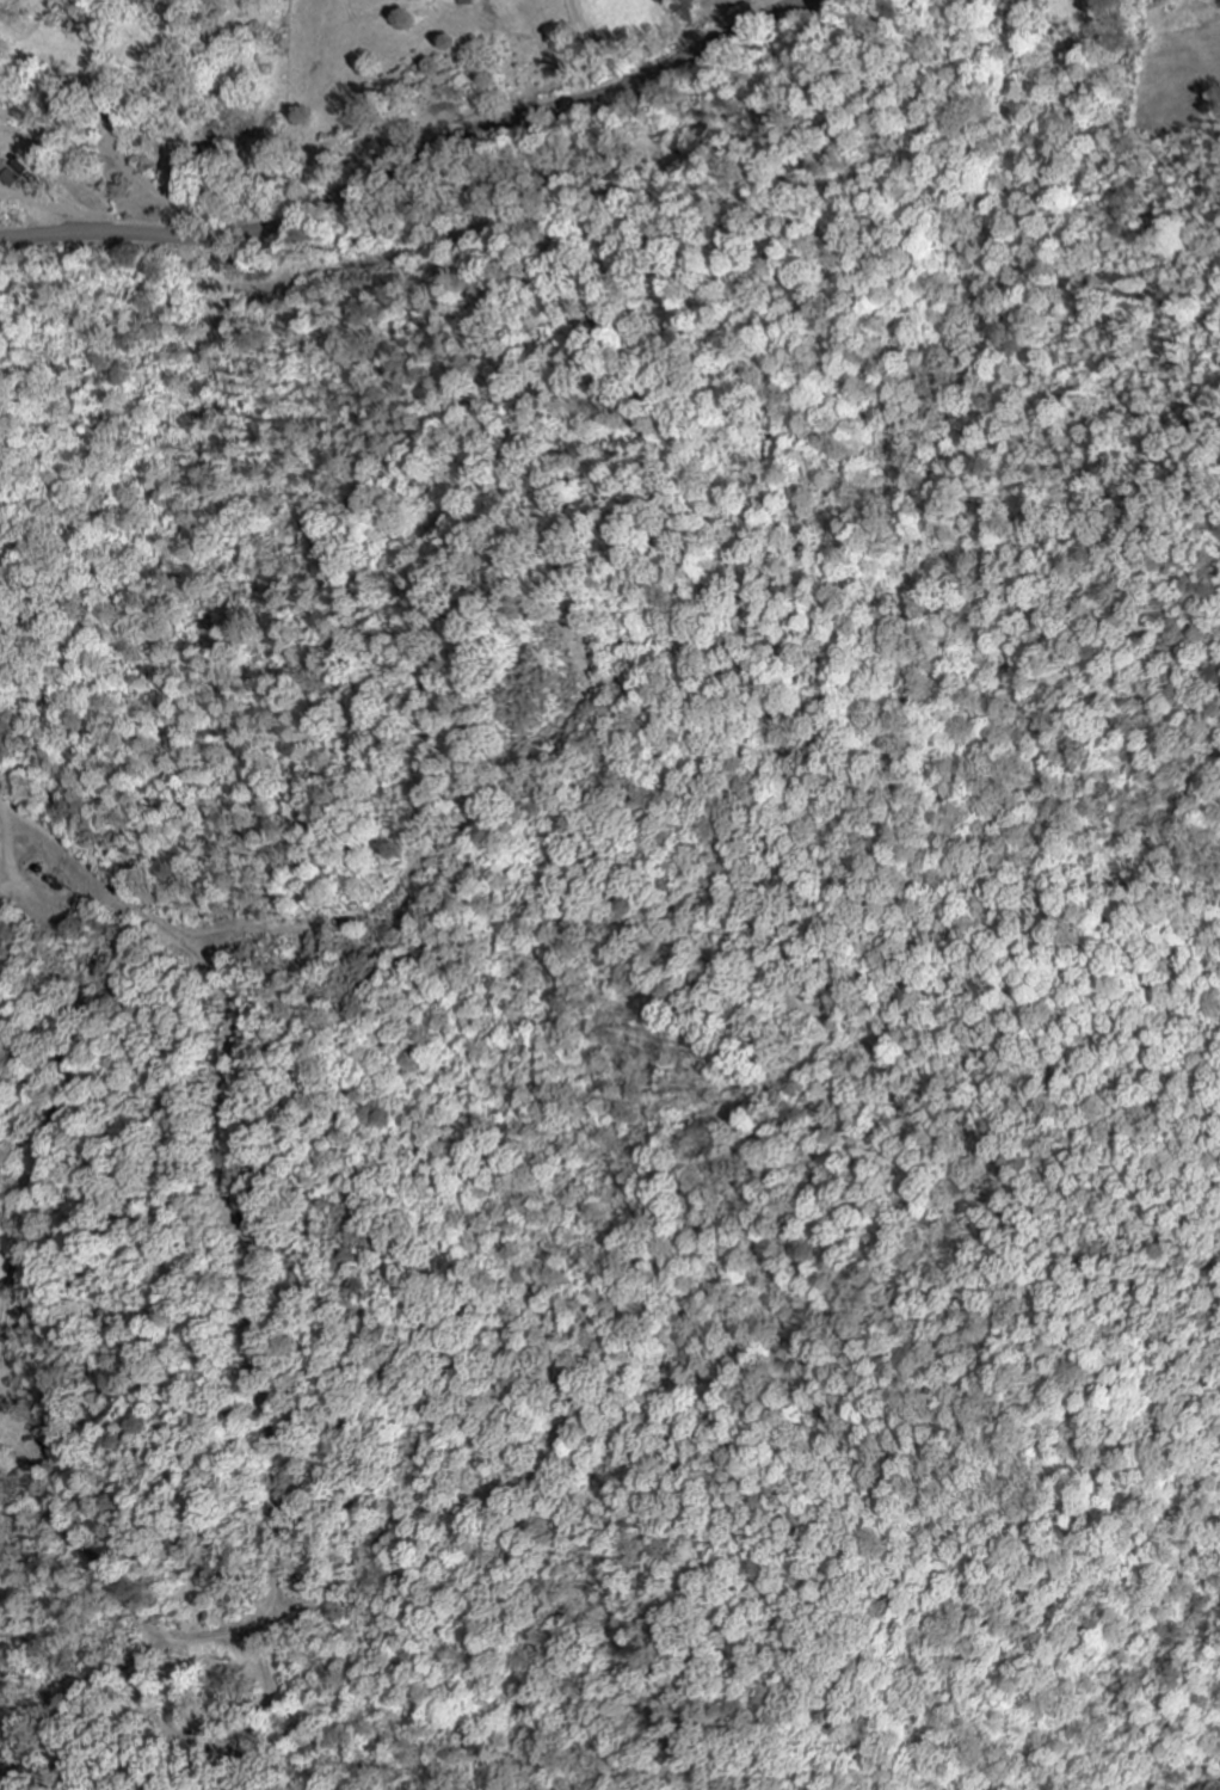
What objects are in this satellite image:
road: (593, 51)
road: (407, 160)
road: (1082, 343)

